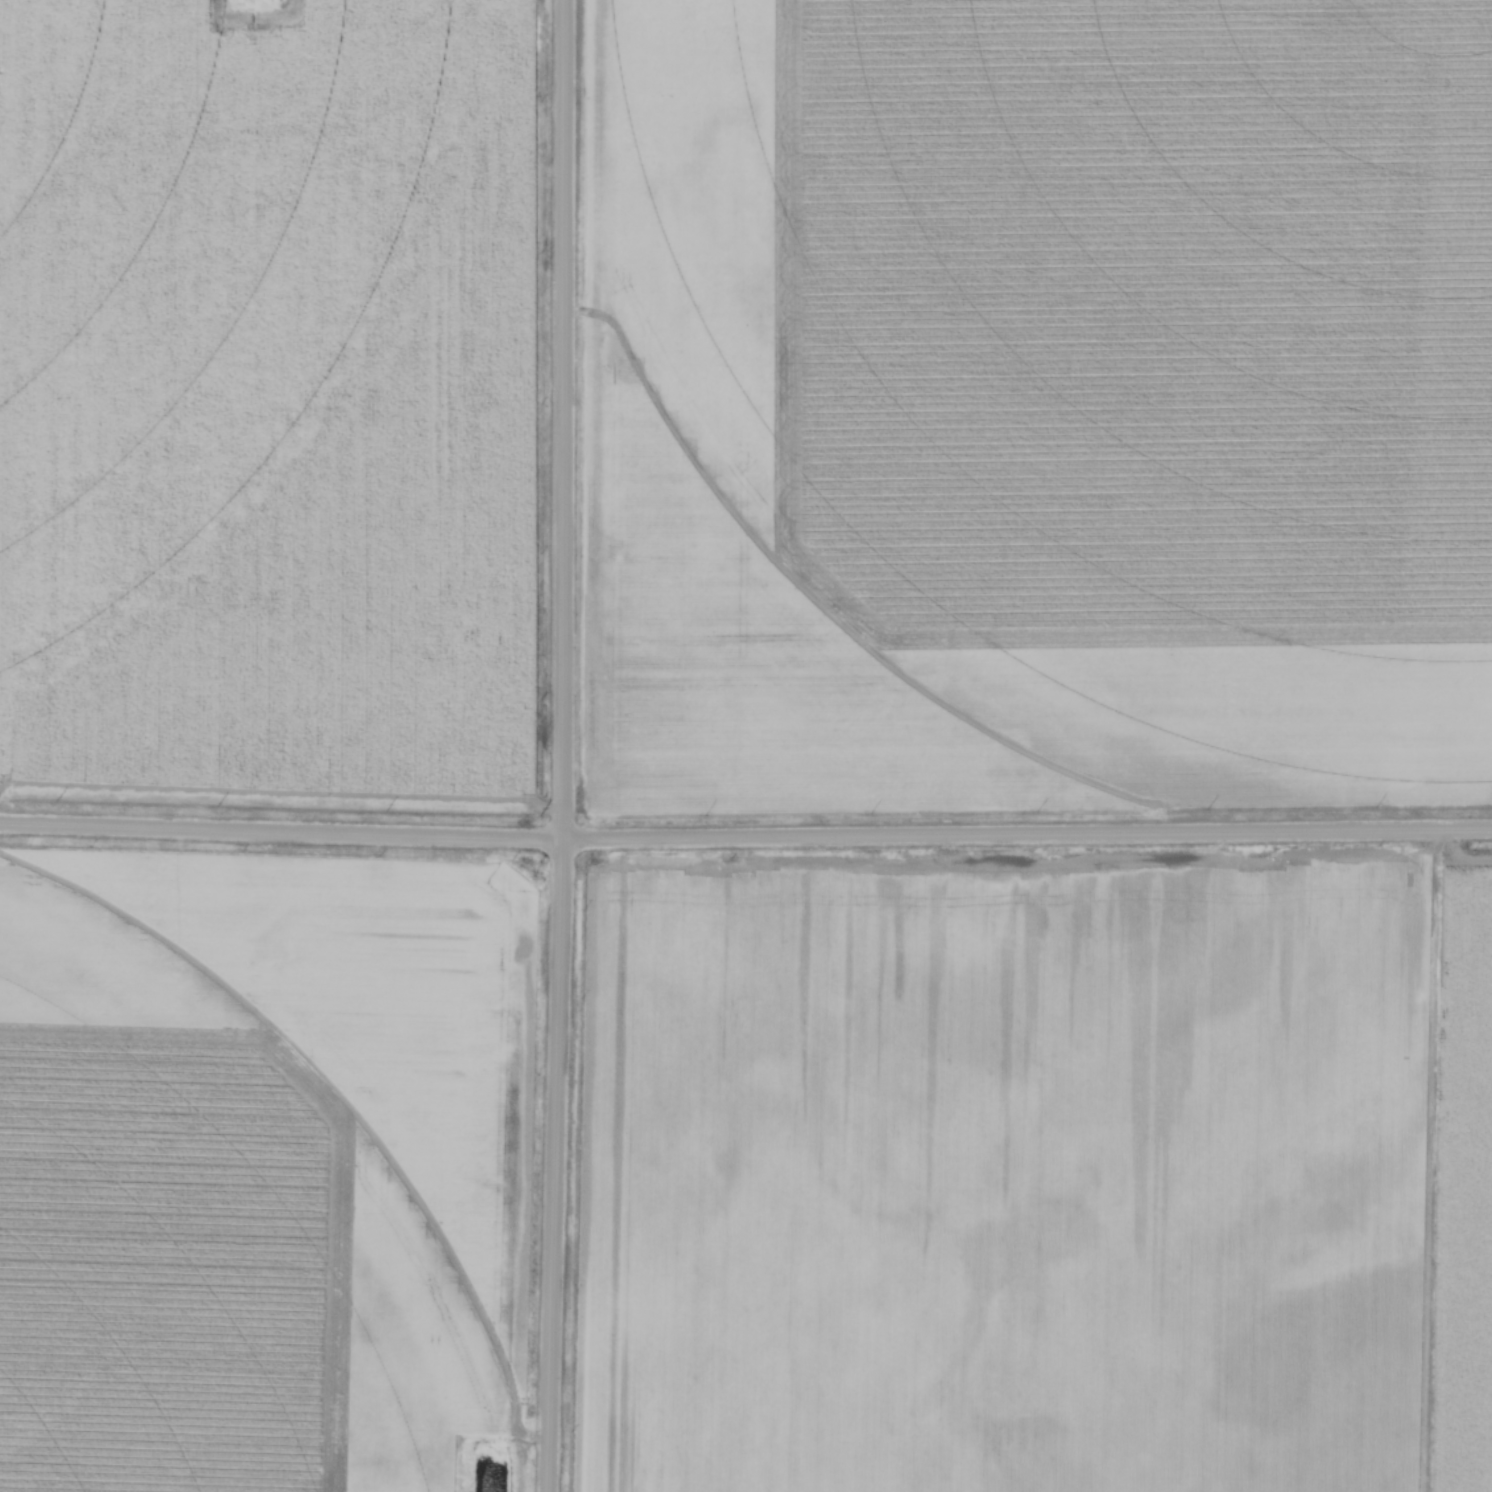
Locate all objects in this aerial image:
road: (555, 421)
road: (277, 834)
road: (1023, 837)
road: (547, 1167)

